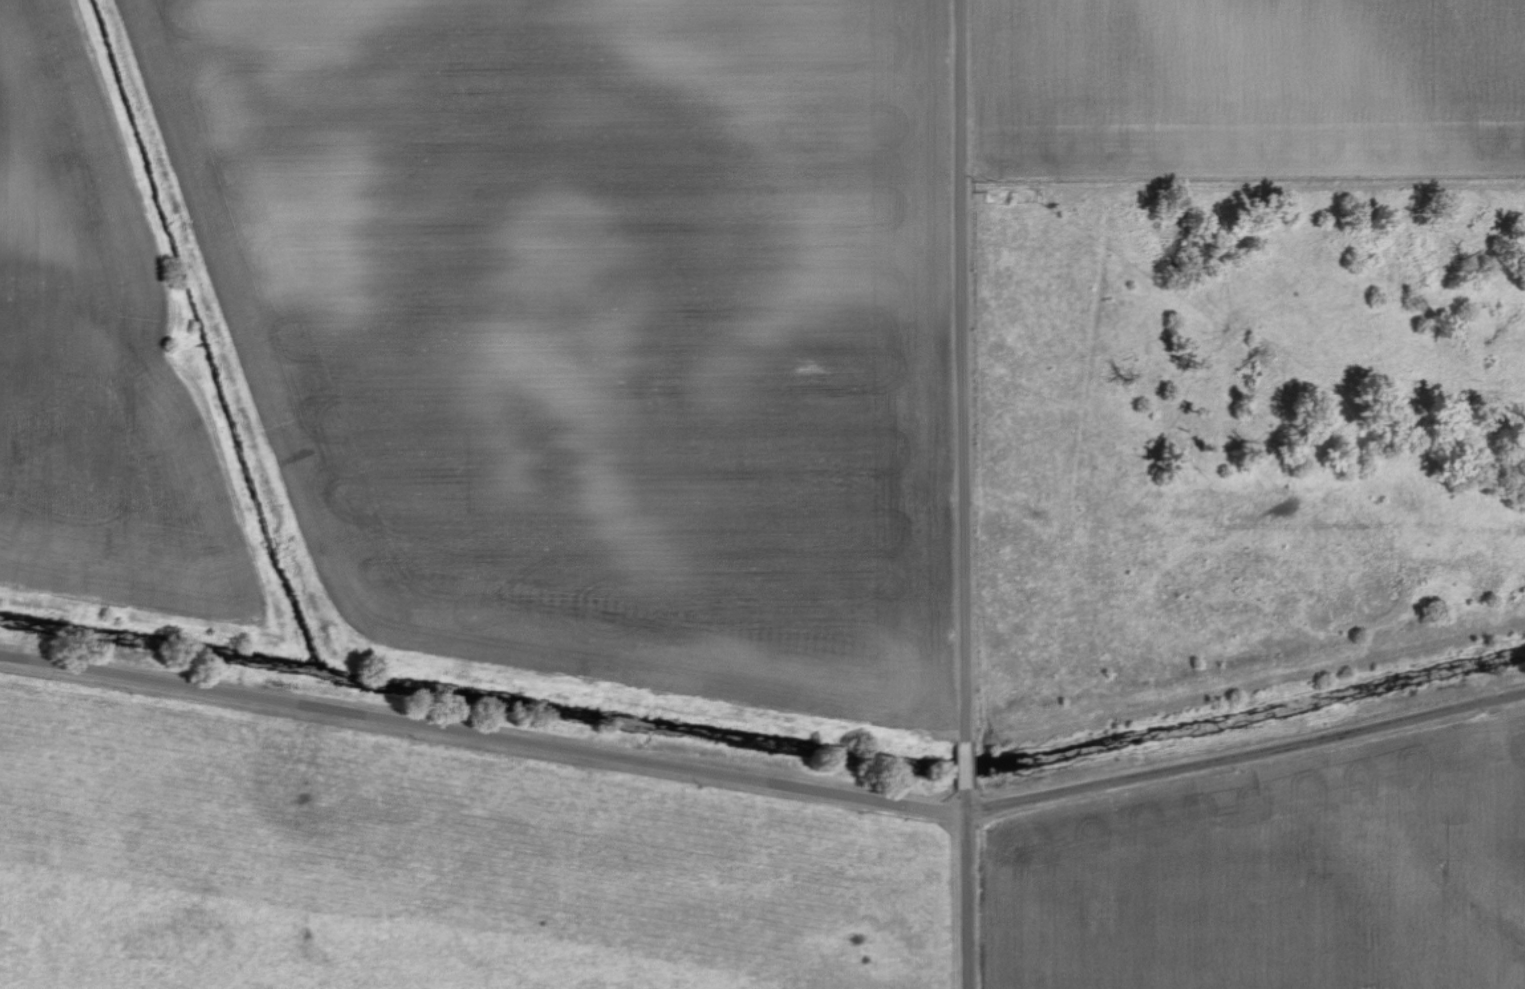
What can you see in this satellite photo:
road: (964, 494)
road: (764, 784)

